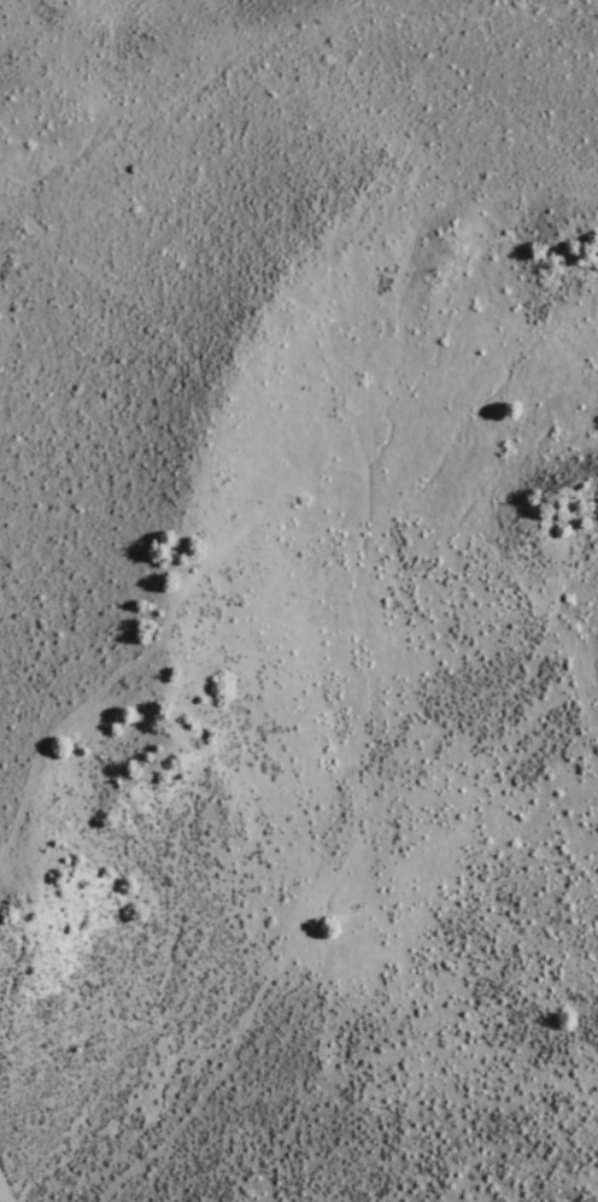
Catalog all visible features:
road: (4, 1191)

